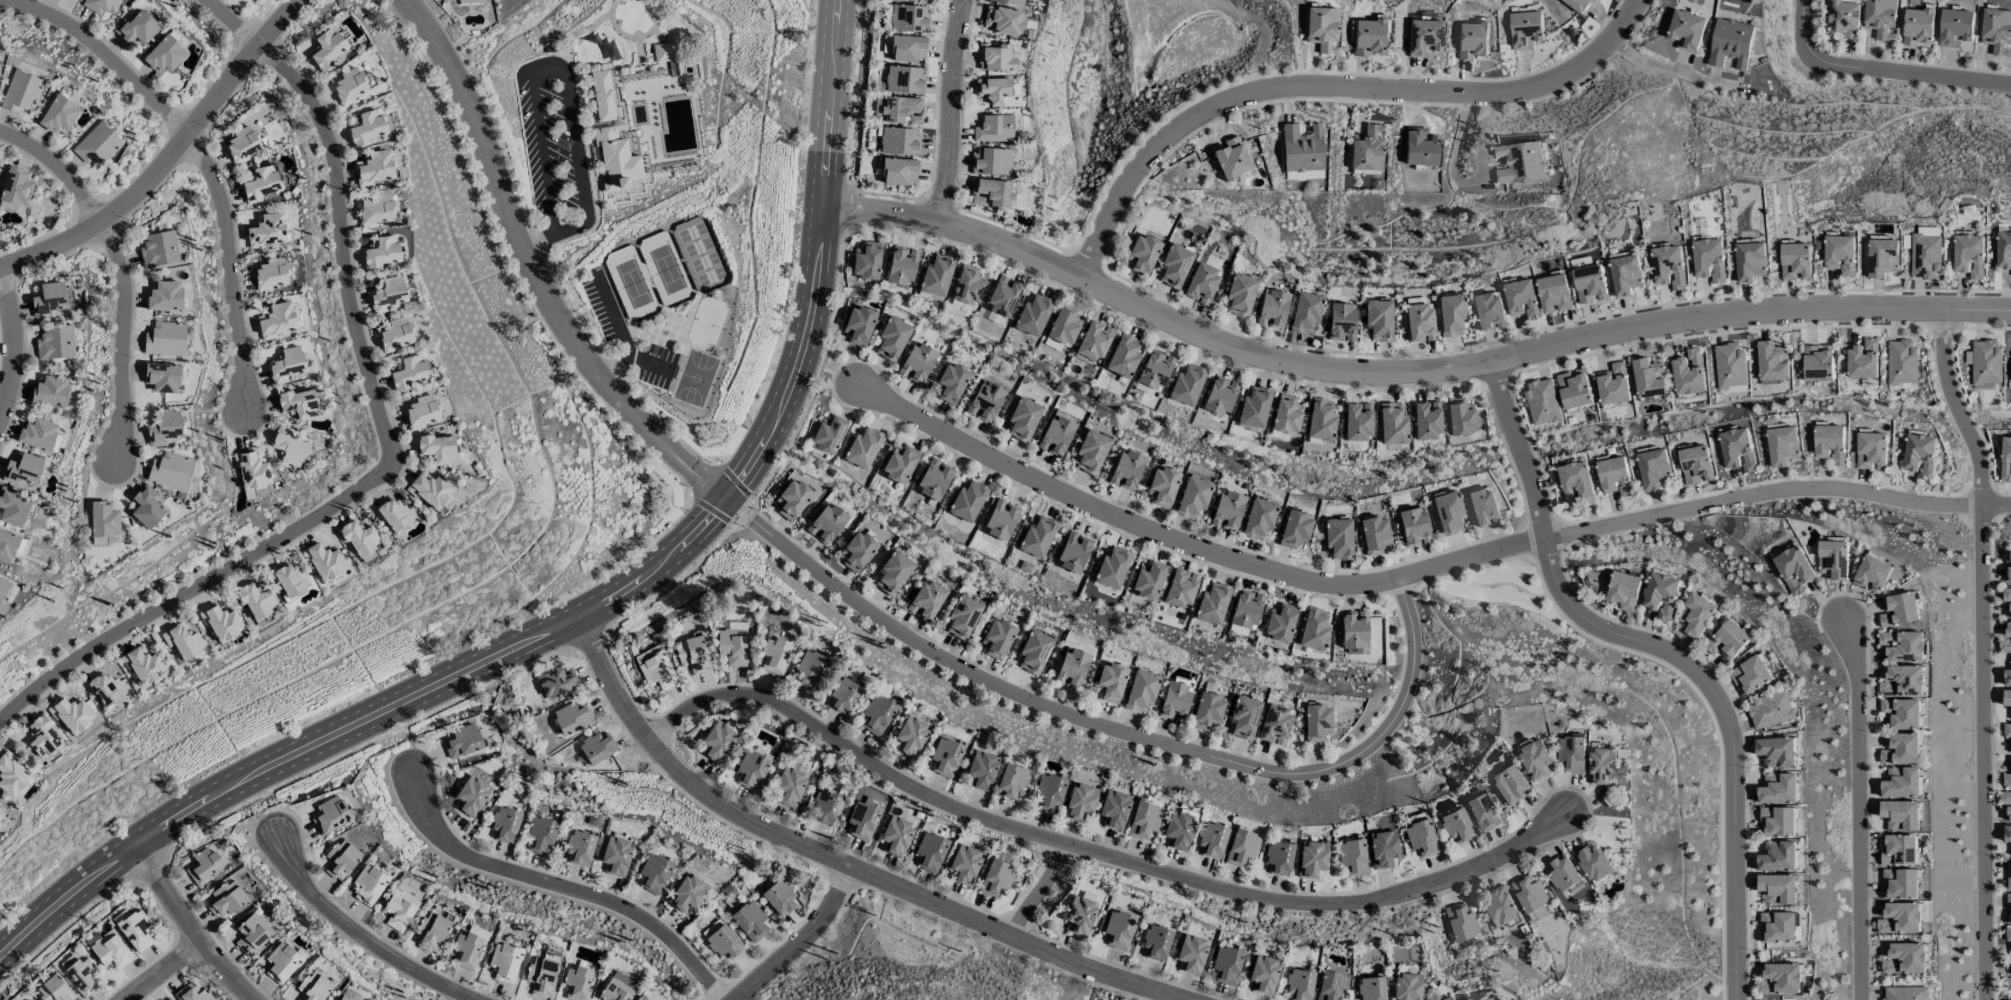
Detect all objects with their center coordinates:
building: (917, 0)
building: (1012, 2)
building: (101, 5)
building: (1579, 5)
park: (633, 16)
building: (909, 18)
building: (1843, 18)
building: (1880, 18)
building: (1003, 20)
building: (1919, 21)
building: (1955, 27)
building: (136, 28)
building: (1322, 29)
building: (1525, 29)
building: (1686, 30)
building: (1997, 31)
building: (1368, 37)
building: (1424, 38)
building: (593, 39)
building: (1473, 39)
building: (1730, 43)
building: (908, 48)
building: (327, 49)
building: (610, 50)
building: (663, 52)
building: (164, 55)
building: (996, 58)
road: (1669, 66)
road: (1880, 71)
building: (904, 79)
road: (565, 83)
building: (349, 87)
road: (1331, 87)
building: (993, 89)
building: (22, 93)
building: (602, 94)
building: (901, 110)
road: (947, 110)
building: (59, 115)
building: (367, 127)
building: (994, 129)
building: (899, 141)
building: (97, 144)
building: (243, 145)
building: (1302, 148)
building: (1420, 148)
building: (1367, 149)
road: (166, 156)
building: (615, 159)
building: (1231, 159)
building: (991, 161)
road: (202, 163)
building: (1520, 163)
building: (376, 168)
building: (899, 171)
building: (263, 182)
building: (16, 187)
building: (992, 193)
building: (376, 209)
building: (267, 231)
building: (159, 249)
building: (2003, 250)
building: (382, 252)
building: (1143, 254)
building: (1839, 254)
building: (1968, 254)
park: (700, 255)
building: (1924, 256)
building: (1882, 257)
building: (1709, 260)
building: (1749, 260)
building: (1795, 260)
building: (867, 261)
building: (1212, 262)
building: (1175, 266)
building: (902, 267)
building: (1668, 267)
road: (119, 269)
park: (666, 269)
road: (531, 271)
building: (271, 273)
building: (1625, 275)
building: (936, 276)
park: (632, 283)
building: (1202, 284)
building: (1589, 284)
building: (968, 285)
building: (388, 294)
building: (1553, 294)
building: (1241, 295)
building: (165, 296)
building: (1004, 297)
building: (1520, 298)
building: (48, 299)
building: (1273, 309)
building: (1488, 311)
building: (1305, 312)
building: (1451, 314)
building: (1033, 315)
building: (1378, 319)
building: (277, 320)
building: (1342, 322)
building: (1419, 322)
park: (707, 323)
building: (859, 325)
building: (1063, 327)
road: (619, 330)
building: (396, 334)
building: (892, 338)
building: (166, 339)
road: (15, 341)
building: (1095, 341)
building: (55, 344)
building: (1124, 356)
building: (1862, 360)
building: (1772, 361)
building: (1901, 361)
building: (1984, 361)
building: (917, 363)
building: (1817, 363)
road: (648, 364)
building: (287, 365)
building: (1729, 365)
building: (1155, 370)
building: (409, 372)
road: (1405, 373)
building: (1689, 373)
building: (2009, 373)
building: (162, 377)
park: (695, 378)
building: (1649, 378)
building: (951, 383)
building: (1613, 384)
building: (1187, 385)
building: (1574, 389)
building: (50, 391)
building: (1220, 395)
building: (985, 401)
building: (1542, 401)
building: (297, 404)
building: (1254, 408)
building: (422, 411)
building: (1287, 415)
building: (1023, 420)
building: (1321, 420)
building: (1426, 421)
building: (1358, 422)
building: (1393, 424)
building: (165, 427)
building: (38, 434)
building: (829, 434)
building: (1056, 436)
road: (389, 443)
building: (1829, 443)
building: (1783, 446)
building: (289, 447)
building: (437, 448)
building: (863, 448)
building: (1738, 449)
road: (1520, 451)
building: (1871, 451)
building: (1092, 452)
building: (1919, 455)
building: (2006, 459)
building: (900, 464)
building: (1696, 464)
building: (22, 469)
building: (1654, 469)
building: (252, 470)
building: (1126, 470)
building: (171, 471)
building: (1616, 476)
building: (934, 480)
building: (1576, 482)
building: (1163, 487)
building: (431, 490)
road: (1775, 492)
traffic signals: (728, 498)
building: (1193, 498)
building: (792, 500)
building: (967, 501)
building: (13, 507)
building: (146, 507)
road: (739, 507)
building: (1483, 507)
building: (1228, 510)
building: (1448, 513)
building: (394, 514)
road: (1120, 516)
building: (1259, 518)
building: (104, 519)
building: (1001, 520)
building: (827, 523)
building: (1413, 527)
building: (1295, 530)
building: (1375, 535)
building: (1037, 537)
building: (359, 538)
building: (1338, 538)
building: (7, 546)
building: (858, 551)
building: (1073, 553)
building: (1833, 559)
road: (1470, 560)
building: (325, 561)
building: (1112, 568)
building: (2008, 568)
building: (1793, 569)
building: (893, 572)
building: (1872, 574)
building: (1149, 580)
building: (1181, 589)
building: (1625, 590)
building: (6, 594)
building: (2006, 594)
building: (1662, 595)
building: (926, 600)
building: (257, 603)
building: (1213, 603)
building: (1246, 609)
building: (1899, 609)
road: (595, 610)
building: (2010, 611)
building: (963, 615)
building: (1698, 615)
building: (224, 623)
building: (1280, 623)
building: (1314, 629)
building: (2008, 629)
building: (1353, 631)
building: (997, 639)
building: (1729, 640)
building: (184, 642)
building: (1902, 645)
building: (2004, 645)
building: (732, 647)
road: (1983, 651)
building: (1034, 652)
building: (692, 654)
building: (776, 655)
building: (144, 666)
building: (1072, 668)
building: (810, 669)
building: (657, 670)
building: (1751, 675)
building: (2007, 677)
building: (1902, 681)
building: (1110, 682)
building: (556, 683)
building: (106, 689)
building: (1140, 691)
building: (844, 695)
building: (2007, 699)
building: (1771, 710)
building: (1207, 712)
building: (1901, 713)
building: (877, 714)
building: (72, 715)
building: (1243, 717)
building: (572, 718)
building: (1316, 723)
road: (1728, 723)
building: (1275, 725)
building: (2007, 731)
road: (1126, 734)
building: (911, 735)
building: (42, 736)
building: (717, 741)
building: (462, 742)
building: (596, 748)
building: (1901, 749)
building: (1777, 752)
building: (1573, 753)
building: (946, 757)
building: (1535, 760)
building: (1603, 764)
building: (982, 769)
building: (751, 770)
building: (12, 776)
road: (681, 778)
building: (1011, 781)
building: (2007, 781)
building: (1901, 782)
building: (1512, 784)
building: (790, 786)
building: (1778, 789)
building: (1049, 792)
building: (471, 797)
building: (2005, 797)
building: (1080, 801)
building: (826, 807)
road: (1858, 809)
building: (1114, 810)
building: (0, 811)
building: (1483, 812)
building: (2009, 813)
building: (331, 815)
building: (1900, 815)
building: (864, 820)
building: (1144, 820)
building: (1778, 821)
building: (505, 825)
building: (1456, 826)
building: (1178, 830)
building: (2007, 834)
building: (896, 835)
building: (541, 836)
building: (1421, 838)
building: (1212, 840)
building: (580, 848)
building: (1241, 848)
building: (1383, 849)
building: (1898, 850)
building: (931, 852)
road: (1095, 854)
building: (1778, 856)
building: (617, 857)
building: (1278, 857)
building: (1351, 857)
building: (341, 859)
building: (1311, 860)
building: (1594, 864)
building: (966, 865)
building: (204, 866)
building: (654, 873)
building: (1563, 873)
building: (2008, 875)
building: (996, 878)
building: (370, 884)
building: (1900, 884)
road: (562, 888)
building: (1778, 889)
road: (1038, 892)
building: (688, 893)
building: (1530, 897)
building: (780, 898)
building: (227, 900)
building: (2008, 907)
building: (1502, 908)
building: (399, 910)
building: (1080, 916)
building: (1900, 918)
building: (750, 921)
road: (974, 922)
building: (1461, 923)
road: (188, 925)
building: (1778, 927)
building: (135, 929)
building: (1118, 930)
building: (432, 931)
building: (252, 933)
building: (2008, 934)
road: (358, 939)
road: (803, 941)
building: (724, 942)
building: (1156, 942)
building: (110, 950)
building: (466, 950)
building: (1191, 954)
building: (1905, 958)
building: (505, 960)
building: (282, 961)
building: (1226, 965)
road: (162, 971)
building: (80, 974)
building: (1264, 974)
building: (541, 976)
building: (1784, 977)
building: (577, 983)
building: (2008, 983)
building: (1300, 984)
building: (1331, 986)
building: (314, 987)
road: (1141, 987)
building: (1406, 987)
building: (1764, 987)
building: (618, 988)
building: (1371, 989)
building: (55, 990)
building: (193, 993)
building: (1904, 993)
building: (343, 998)
building: (641, 998)
building: (1447, 998)
building: (27, 999)

